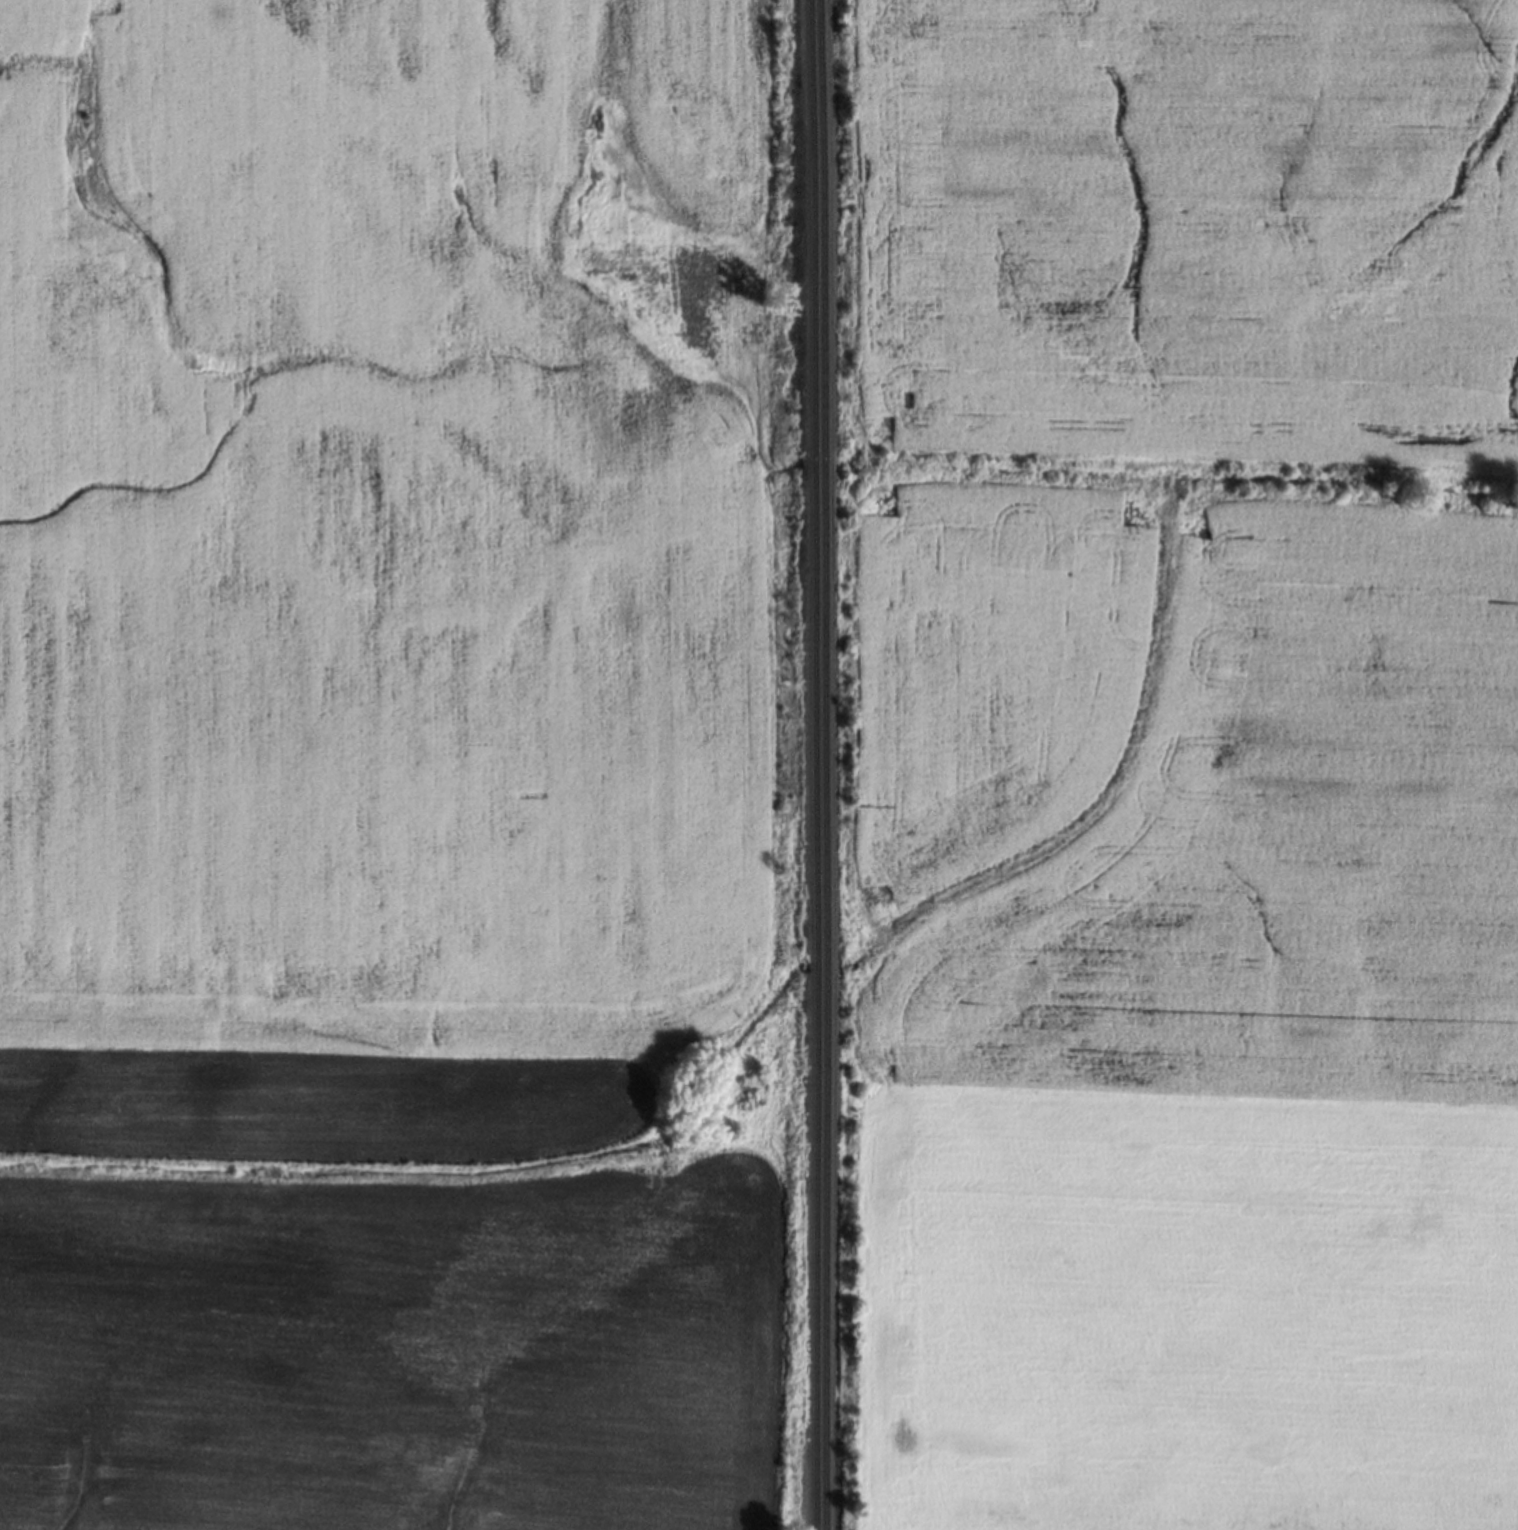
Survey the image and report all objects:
crop: (380, 526)
crop: (1190, 763)
railway: (813, 765)
railway: (823, 765)
crop: (313, 1104)
crop: (394, 1355)

